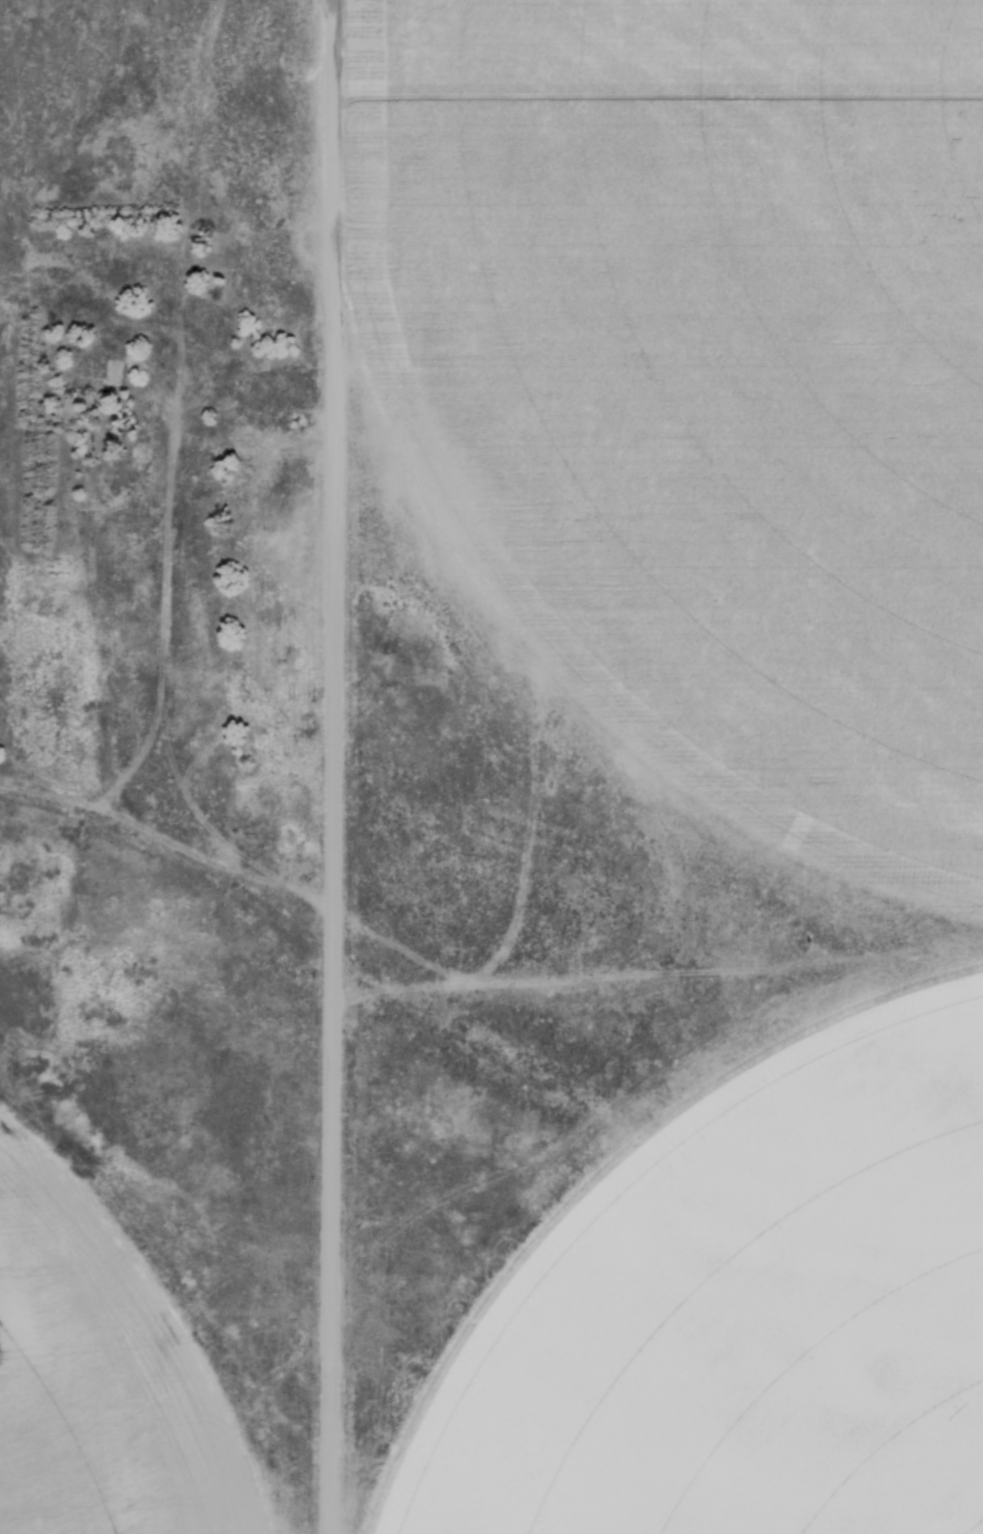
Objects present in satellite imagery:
building: (109, 361)
crop: (701, 382)
crop: (743, 1312)
crop: (99, 1377)

